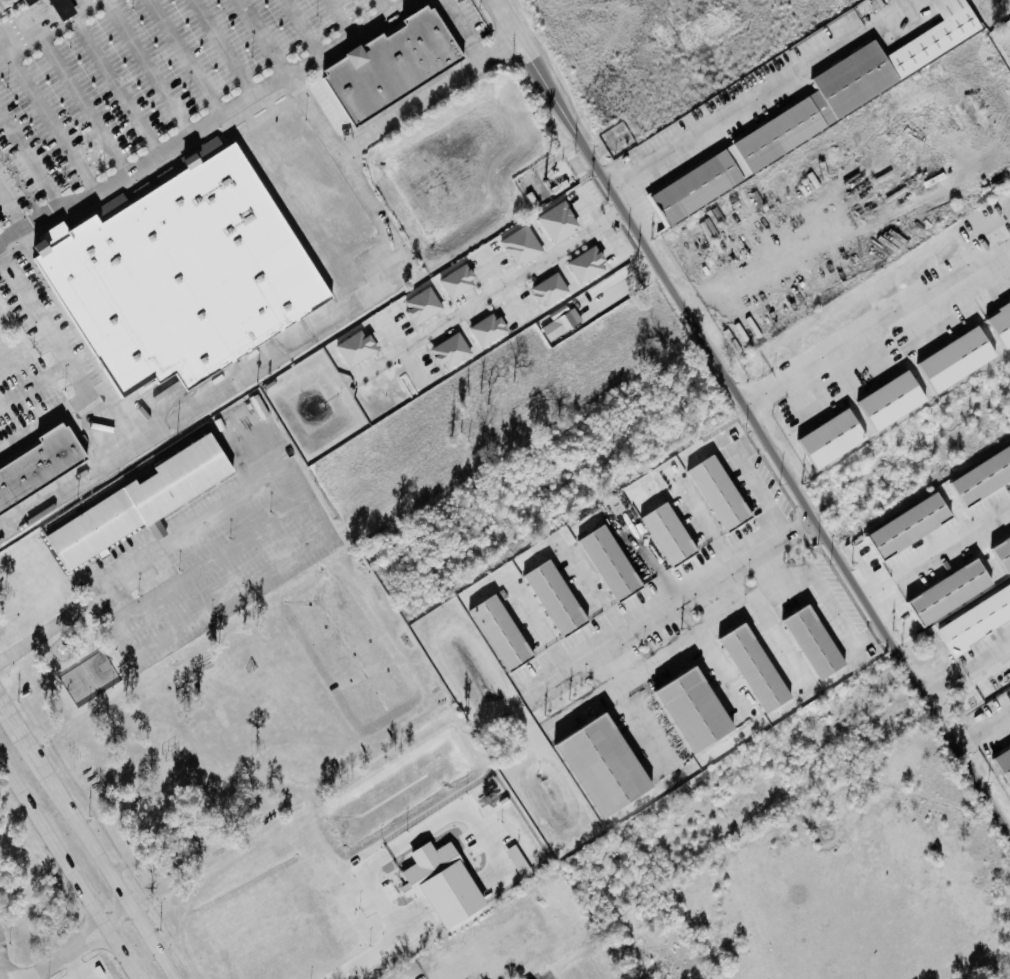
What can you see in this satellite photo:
road: (70, 0)
building: (30, 2)
road: (65, 6)
building: (64, 8)
road: (30, 26)
road: (304, 27)
road: (263, 37)
road: (1, 41)
road: (222, 48)
road: (183, 58)
road: (146, 68)
building: (865, 80)
road: (111, 82)
parking lot: (112, 88)
road: (759, 95)
road: (429, 96)
road: (78, 101)
road: (46, 119)
road: (207, 124)
road: (25, 166)
building: (698, 186)
road: (10, 211)
building: (559, 222)
building: (523, 246)
building: (587, 265)
building: (186, 274)
building: (458, 282)
building: (551, 290)
road: (498, 292)
road: (353, 305)
building: (423, 306)
building: (561, 322)
building: (1002, 325)
building: (489, 330)
building: (357, 348)
building: (451, 351)
road: (874, 351)
road: (61, 357)
building: (960, 359)
road: (32, 385)
building: (895, 401)
road: (752, 415)
road: (42, 420)
road: (762, 438)
building: (836, 439)
road: (750, 446)
building: (39, 466)
building: (984, 478)
road: (764, 491)
building: (723, 494)
road: (61, 495)
building: (137, 502)
building: (913, 526)
road: (328, 528)
building: (672, 535)
road: (934, 543)
building: (1004, 553)
road: (213, 560)
building: (613, 564)
road: (814, 575)
building: (953, 593)
building: (559, 599)
road: (672, 603)
building: (976, 621)
road: (49, 628)
road: (878, 633)
building: (504, 634)
road: (867, 641)
building: (818, 643)
road: (966, 668)
building: (759, 669)
park: (87, 675)
building: (699, 711)
road: (16, 724)
road: (983, 730)
building: (1005, 763)
building: (609, 767)
road: (378, 857)
road: (102, 864)
road: (65, 867)
building: (445, 885)
road: (115, 918)
road: (69, 954)
road: (72, 967)

